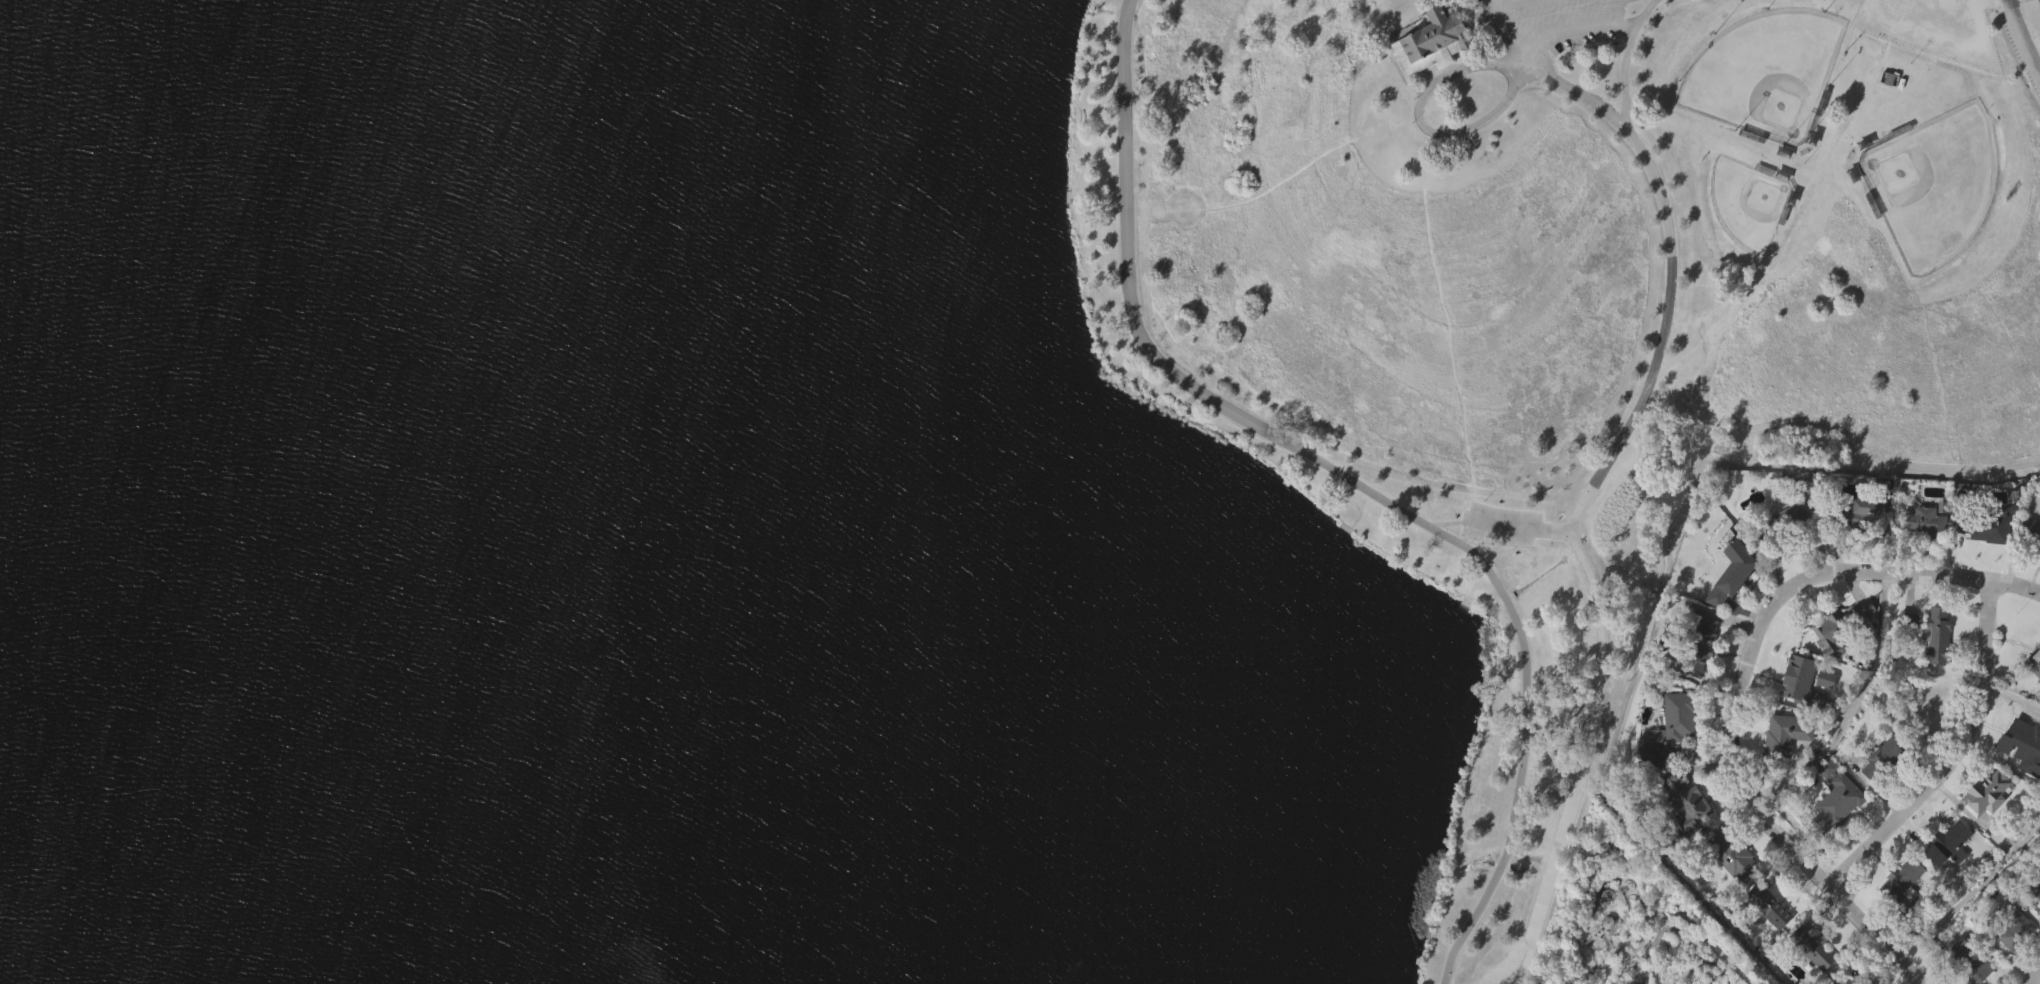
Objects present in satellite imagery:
road: (1899, 21)
parking lot: (1552, 22)
road: (1609, 24)
parking lot: (1932, 27)
road: (1570, 32)
road: (1517, 35)
building: (1431, 41)
road: (2018, 43)
park: (1763, 74)
building: (1429, 76)
road: (1421, 96)
road: (1580, 98)
road: (1312, 159)
park: (1931, 184)
park: (1747, 203)
road: (1671, 228)
road: (1448, 323)
park: (932, 467)
road: (1355, 480)
building: (1806, 483)
road: (1585, 492)
building: (1861, 516)
road: (1449, 520)
building: (1921, 521)
parking lot: (1501, 523)
building: (1779, 523)
road: (1520, 525)
building: (1982, 525)
building: (2031, 532)
building: (1922, 554)
building: (1982, 562)
building: (2033, 566)
road: (1943, 579)
building: (1730, 604)
building: (1862, 617)
building: (1834, 631)
building: (1935, 635)
building: (1700, 642)
building: (1905, 649)
building: (1842, 656)
building: (2033, 662)
road: (1599, 668)
building: (1935, 668)
building: (1700, 677)
building: (1799, 682)
building: (2036, 695)
building: (1823, 711)
road: (1864, 714)
building: (1799, 715)
building: (1677, 718)
building: (1782, 733)
building: (2020, 742)
building: (1675, 750)
road: (1953, 755)
building: (1880, 756)
building: (1784, 766)
building: (2019, 776)
road: (1744, 781)
building: (1653, 786)
building: (1880, 790)
building: (1984, 791)
building: (1685, 799)
building: (1835, 802)
building: (1984, 826)
building: (1685, 834)
building: (1835, 835)
building: (1668, 839)
building: (1943, 843)
building: (1728, 854)
building: (1947, 875)
road: (1548, 879)
building: (1900, 885)
building: (2036, 886)
building: (1728, 887)
building: (1766, 905)
building: (1901, 908)
park: (1644, 917)
building: (2036, 922)
building: (2011, 925)
building: (1766, 938)
building: (1811, 947)
building: (1964, 962)
road: (1522, 966)
building: (1805, 972)
road: (2033, 977)
building: (1841, 978)

